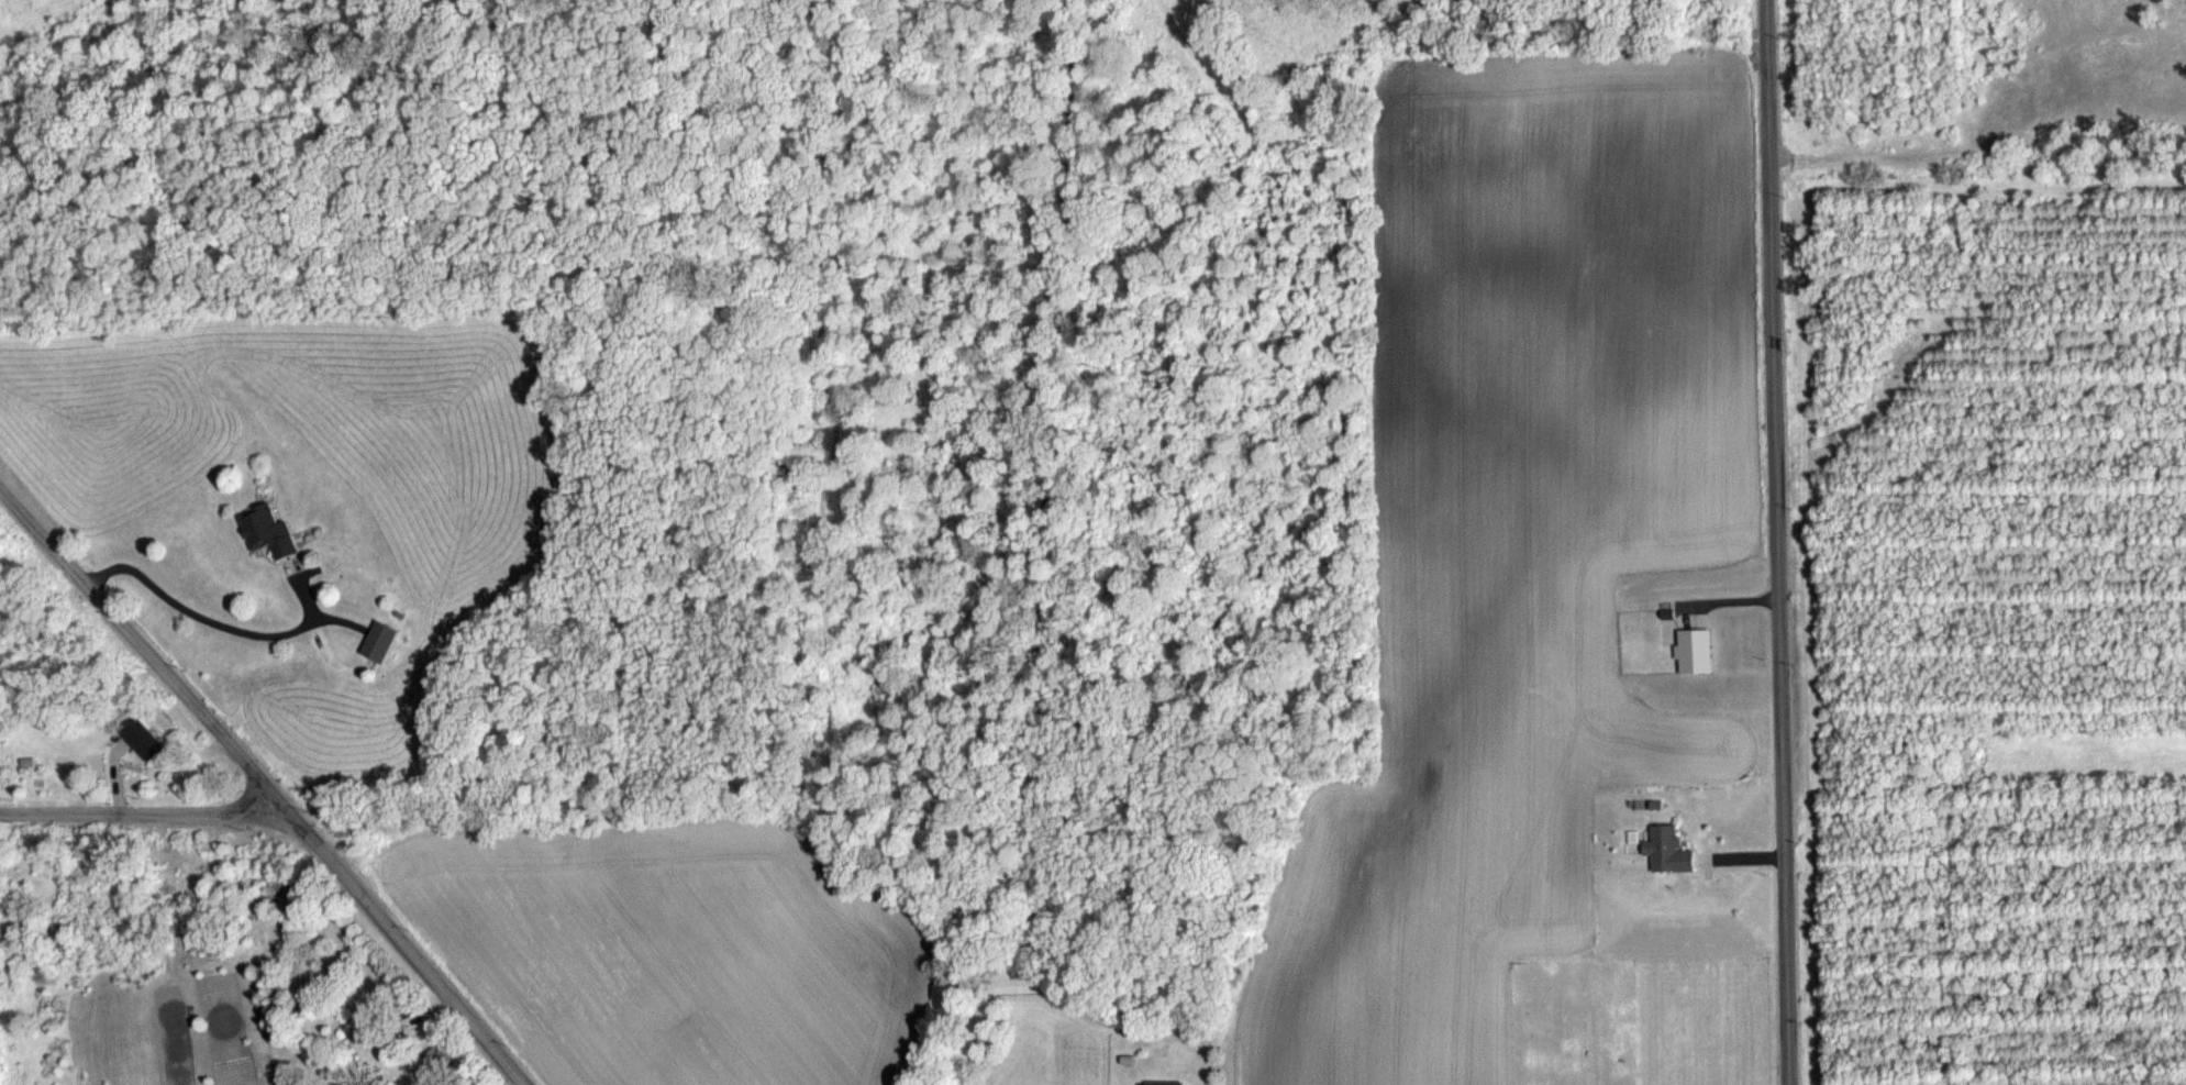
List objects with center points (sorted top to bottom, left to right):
building: (271, 529)
road: (1775, 542)
building: (381, 640)
road: (143, 646)
building: (149, 739)
road: (143, 810)
building: (1660, 848)
road: (403, 946)
building: (441, 1062)

